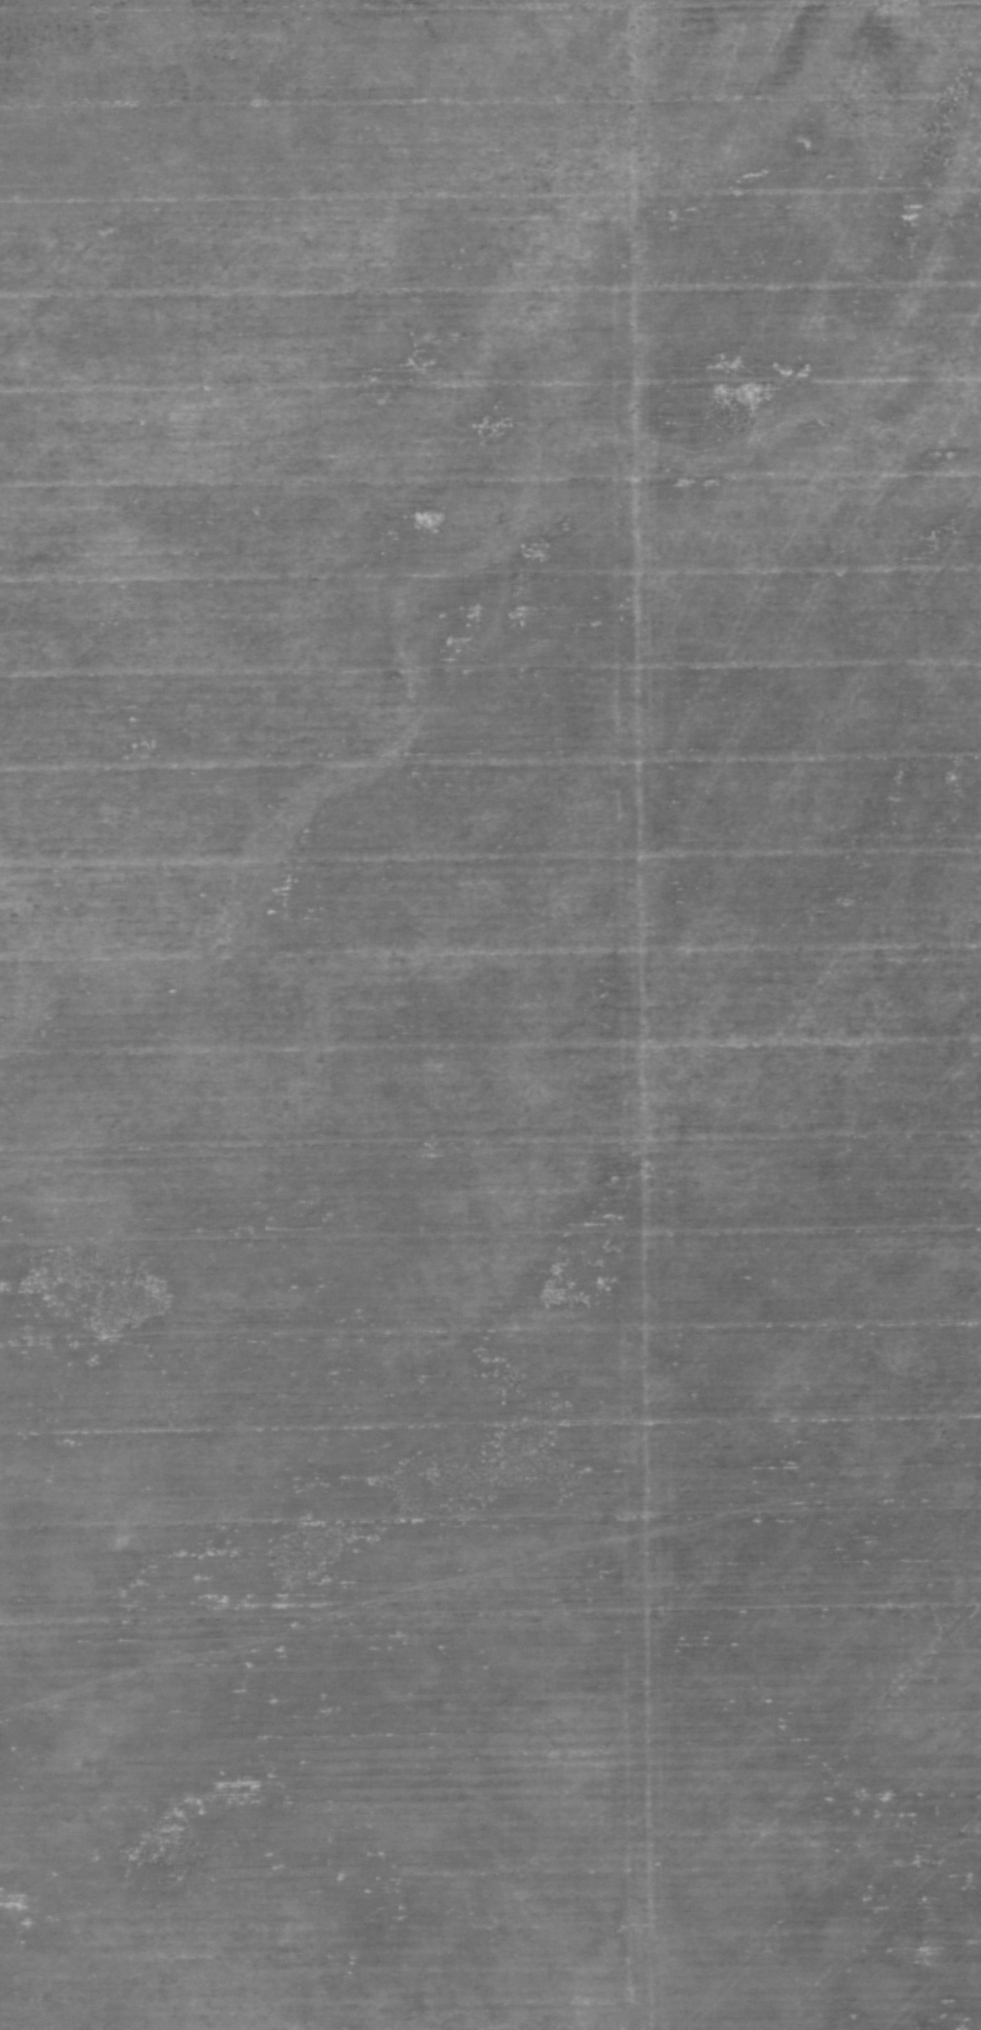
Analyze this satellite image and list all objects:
crop: (490, 1015)
park: (490, 1015)

